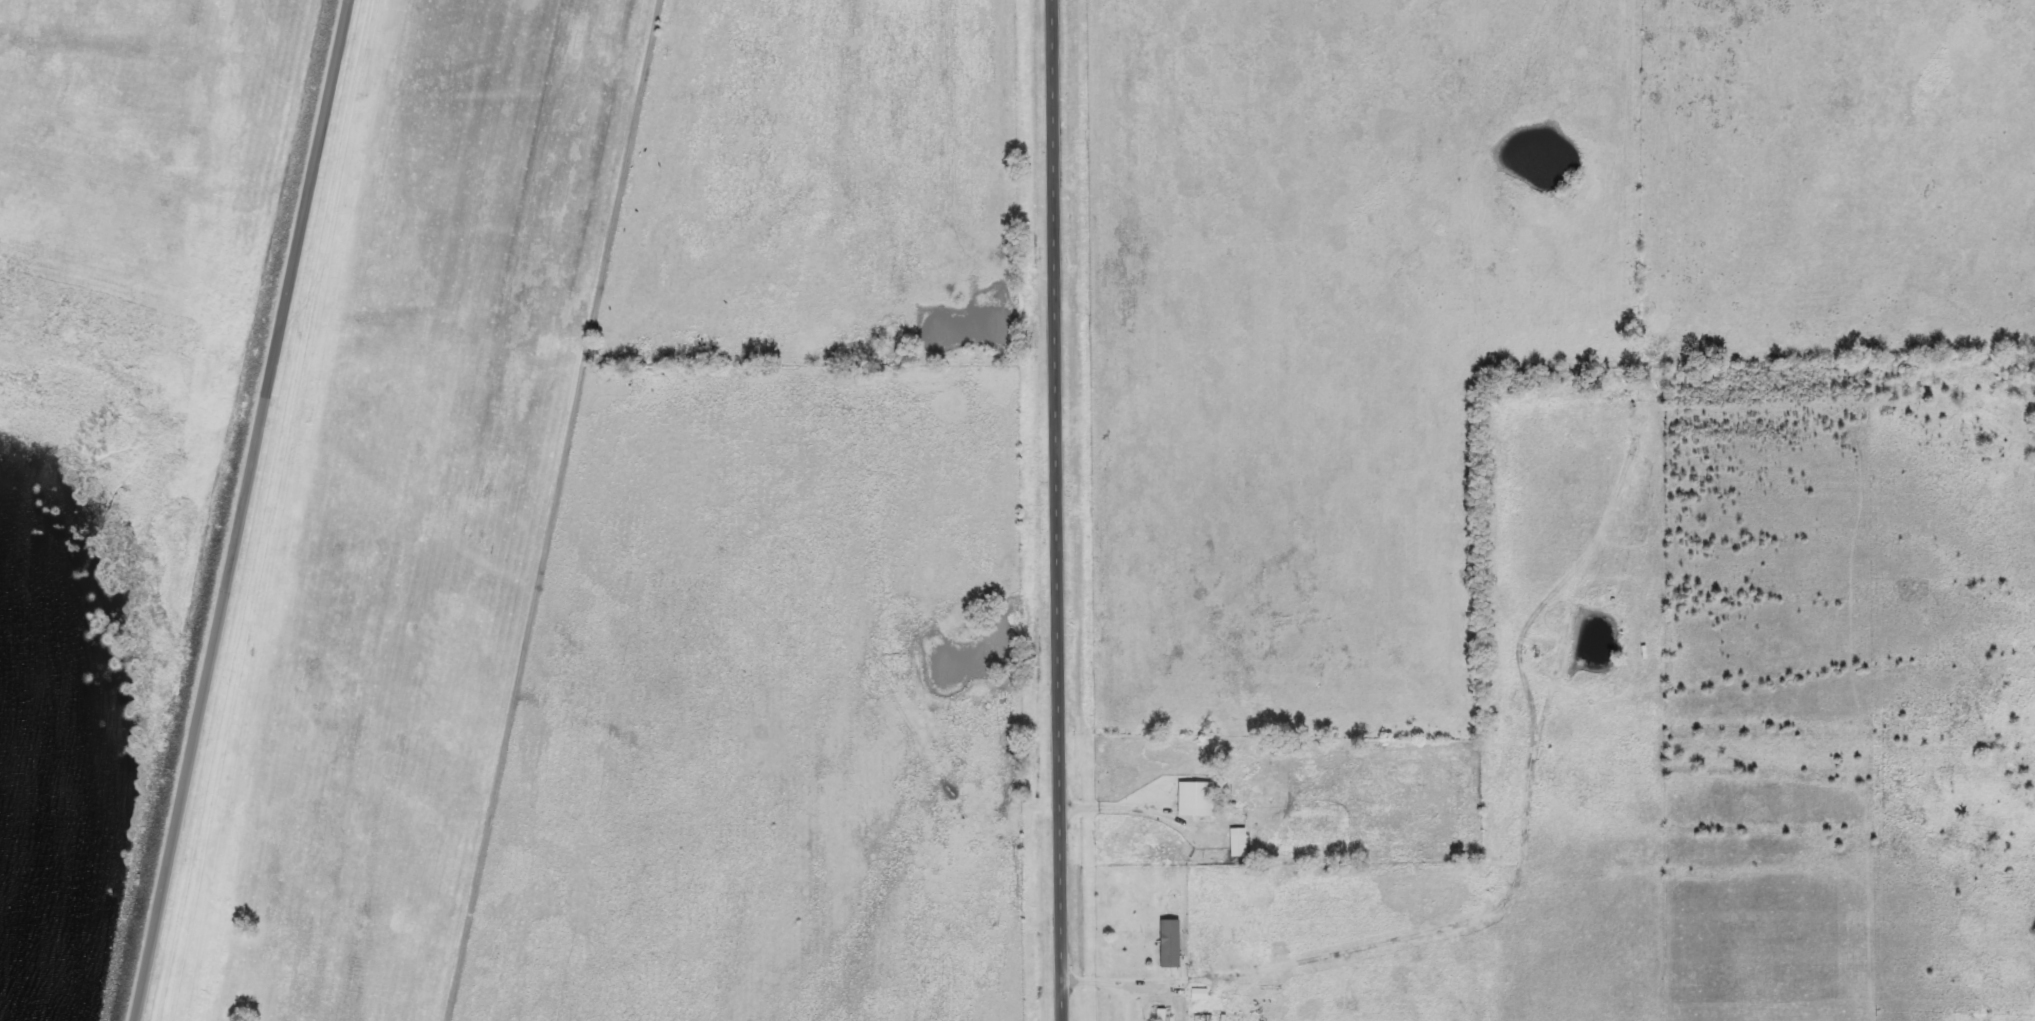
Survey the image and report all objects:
road: (247, 510)
road: (1056, 510)
dam: (250, 541)
building: (1197, 799)
road: (1118, 808)
building: (1240, 842)
building: (1172, 943)
road: (1113, 985)
building: (1200, 994)

